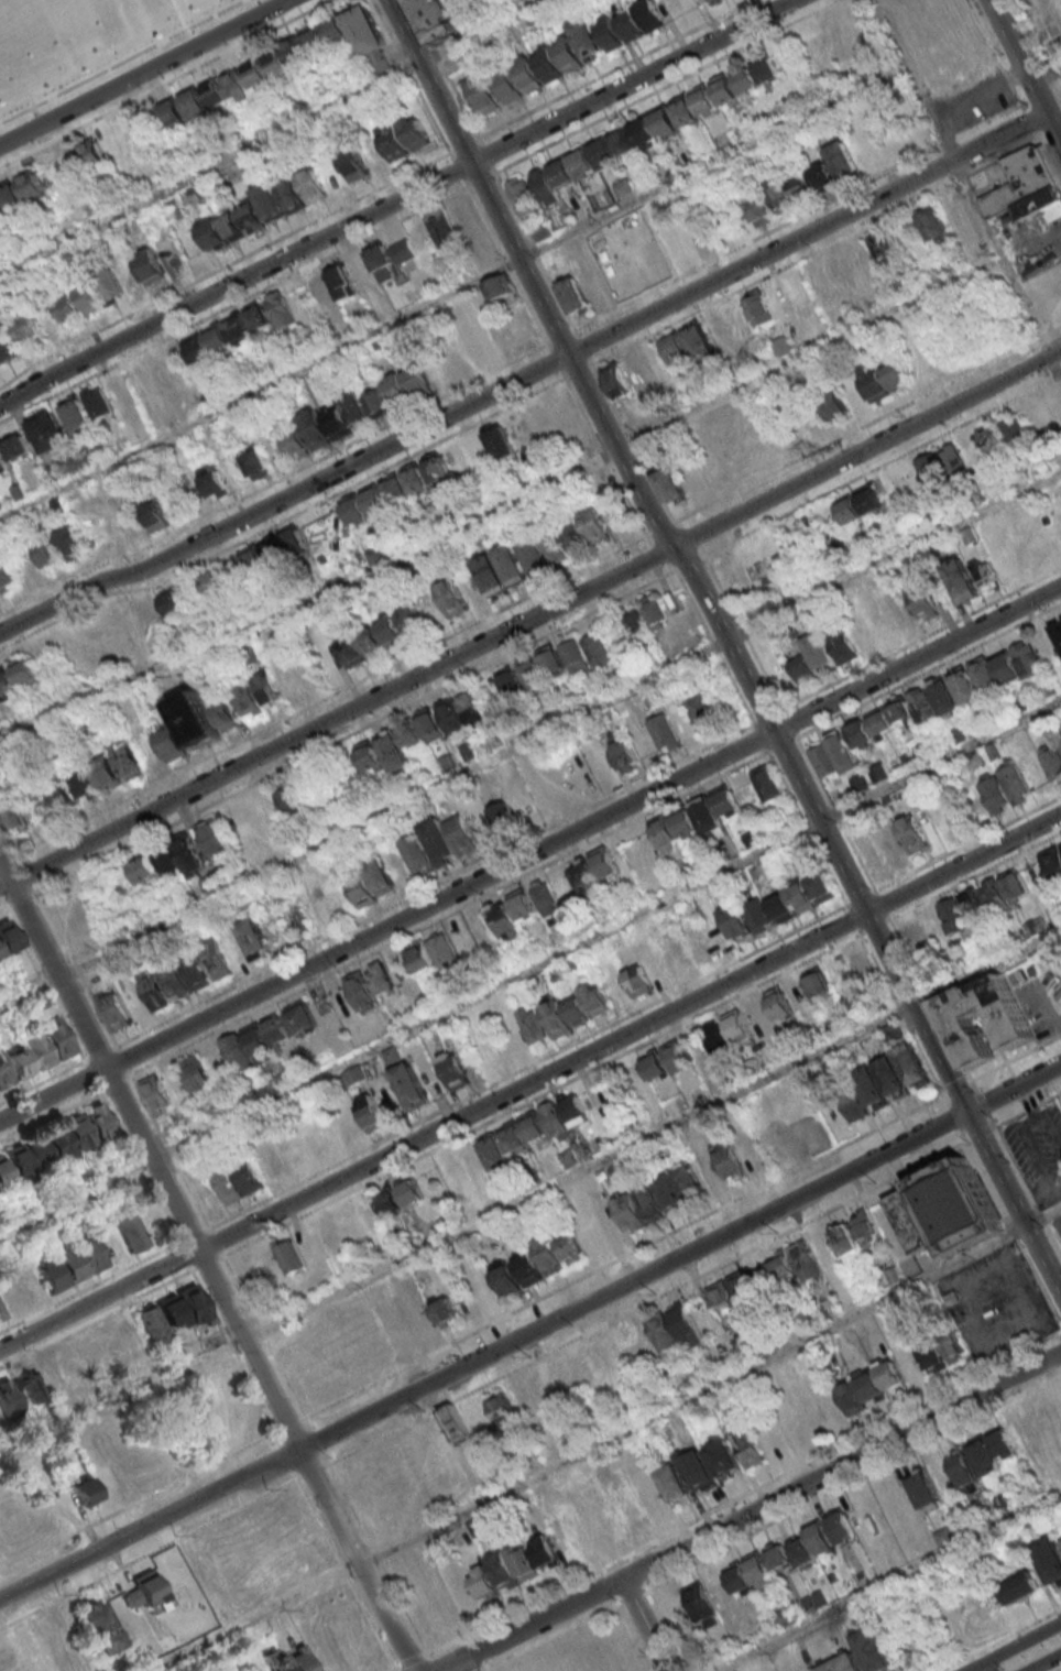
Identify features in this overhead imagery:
road: (178, 14)
building: (648, 14)
building: (438, 19)
building: (620, 30)
road: (248, 40)
road: (1037, 45)
building: (570, 51)
road: (994, 55)
road: (121, 62)
building: (286, 62)
road: (441, 70)
building: (766, 70)
road: (144, 73)
road: (1024, 73)
building: (527, 75)
road: (1046, 77)
road: (412, 78)
building: (746, 81)
building: (507, 86)
building: (724, 91)
building: (483, 94)
building: (174, 114)
road: (1028, 120)
road: (85, 122)
building: (415, 132)
building: (132, 134)
road: (269, 136)
building: (393, 142)
building: (621, 143)
building: (90, 152)
road: (484, 153)
road: (1047, 159)
building: (841, 160)
building: (354, 165)
road: (457, 168)
building: (821, 175)
building: (313, 186)
building: (800, 187)
building: (1025, 187)
road: (967, 188)
building: (21, 189)
building: (622, 189)
building: (292, 196)
building: (523, 196)
road: (396, 200)
building: (269, 201)
building: (770, 201)
building: (463, 217)
building: (252, 218)
building: (934, 226)
building: (442, 228)
building: (220, 231)
building: (687, 242)
building: (886, 247)
road: (534, 251)
building: (379, 262)
road: (222, 265)
road: (523, 267)
building: (119, 280)
building: (341, 281)
building: (319, 287)
building: (499, 288)
building: (584, 291)
road: (452, 293)
road: (234, 305)
building: (68, 308)
building: (280, 309)
building: (748, 312)
building: (258, 316)
building: (28, 327)
building: (216, 339)
building: (701, 342)
building: (6, 345)
road: (582, 346)
building: (478, 349)
building: (627, 375)
road: (523, 376)
building: (885, 379)
building: (417, 380)
building: (396, 390)
building: (834, 405)
building: (86, 408)
building: (353, 411)
road: (865, 424)
building: (314, 429)
building: (47, 432)
building: (1002, 434)
road: (633, 443)
building: (489, 444)
building: (296, 445)
building: (15, 447)
road: (602, 454)
building: (2, 462)
building: (254, 462)
building: (952, 462)
building: (436, 467)
building: (928, 474)
building: (211, 480)
road: (275, 482)
building: (670, 483)
building: (406, 484)
building: (858, 504)
building: (363, 505)
road: (503, 509)
building: (153, 514)
road: (658, 526)
road: (688, 537)
building: (58, 547)
building: (274, 551)
building: (534, 556)
building: (1006, 565)
building: (500, 570)
building: (7, 575)
building: (984, 575)
building: (960, 580)
building: (212, 581)
building: (450, 598)
building: (921, 601)
building: (172, 602)
building: (653, 610)
road: (536, 616)
building: (411, 618)
building: (633, 623)
road: (740, 626)
building: (1058, 630)
road: (545, 634)
building: (370, 642)
building: (842, 645)
building: (597, 648)
building: (819, 653)
building: (549, 660)
building: (1006, 668)
building: (802, 669)
building: (529, 673)
building: (17, 677)
building: (508, 681)
building: (964, 686)
building: (1046, 688)
building: (256, 693)
road: (325, 698)
building: (915, 708)
building: (704, 711)
building: (462, 712)
building: (226, 716)
building: (193, 719)
building: (665, 732)
building: (860, 734)
building: (407, 738)
road: (529, 739)
building: (171, 743)
building: (151, 754)
building: (368, 755)
building: (625, 755)
building: (834, 757)
building: (128, 761)
building: (1053, 762)
building: (106, 772)
building: (877, 773)
building: (767, 783)
building: (1015, 784)
building: (85, 786)
building: (994, 795)
building: (61, 796)
building: (288, 800)
building: (717, 810)
building: (502, 816)
building: (14, 817)
building: (953, 818)
road: (818, 821)
building: (685, 824)
building: (912, 833)
building: (664, 834)
building: (212, 839)
building: (890, 842)
building: (439, 844)
road: (965, 845)
building: (868, 851)
building: (186, 853)
road: (529, 853)
building: (1052, 861)
building: (603, 862)
building: (143, 872)
building: (584, 877)
road: (972, 877)
road: (4, 883)
building: (372, 883)
road: (1, 894)
road: (875, 894)
building: (799, 897)
road: (20, 898)
building: (545, 898)
road: (857, 899)
road: (6, 906)
road: (880, 906)
building: (974, 907)
building: (512, 914)
building: (757, 915)
building: (953, 916)
road: (850, 918)
building: (734, 920)
building: (1036, 926)
road: (874, 928)
road: (857, 932)
building: (713, 933)
building: (914, 935)
building: (1018, 935)
building: (9, 937)
road: (64, 946)
building: (1, 953)
building: (434, 954)
road: (905, 954)
building: (676, 955)
building: (216, 961)
building: (860, 965)
road: (529, 969)
road: (879, 970)
building: (94, 976)
building: (380, 976)
road: (44, 978)
building: (637, 981)
building: (359, 990)
building: (154, 992)
building: (798, 993)
building: (594, 998)
road: (928, 1000)
building: (112, 1009)
road: (901, 1011)
building: (562, 1015)
building: (300, 1017)
building: (761, 1022)
building: (1013, 1024)
building: (530, 1025)
building: (726, 1034)
building: (61, 1040)
building: (253, 1044)
building: (40, 1050)
road: (953, 1050)
building: (676, 1056)
road: (1014, 1060)
road: (927, 1062)
building: (654, 1064)
road: (525, 1069)
building: (452, 1070)
road: (1009, 1071)
building: (6, 1074)
building: (196, 1074)
building: (352, 1075)
building: (713, 1080)
road: (43, 1081)
building: (883, 1082)
road: (530, 1083)
road: (1016, 1083)
building: (408, 1085)
road: (956, 1090)
building: (156, 1095)
road: (540, 1096)
road: (1049, 1100)
road: (1028, 1103)
road: (981, 1105)
road: (1030, 1110)
building: (361, 1116)
road: (954, 1118)
road: (1032, 1120)
road: (1006, 1122)
building: (533, 1129)
road: (1052, 1131)
road: (980, 1135)
building: (62, 1143)
road: (167, 1153)
building: (750, 1153)
parking lot: (1039, 1153)
road: (150, 1156)
building: (569, 1158)
road: (1036, 1158)
road: (1011, 1164)
building: (709, 1172)
building: (455, 1173)
building: (248, 1175)
building: (4, 1176)
road: (984, 1178)
road: (1057, 1190)
road: (529, 1198)
building: (390, 1202)
road: (1014, 1204)
building: (958, 1206)
building: (15, 1208)
building: (637, 1208)
building: (1, 1215)
road: (1040, 1220)
building: (914, 1221)
building: (153, 1223)
building: (132, 1233)
road: (1011, 1234)
building: (329, 1235)
building: (860, 1235)
road: (194, 1237)
road: (1052, 1242)
road: (214, 1244)
road: (181, 1245)
building: (288, 1254)
road: (679, 1256)
road: (186, 1257)
road: (622, 1258)
building: (73, 1264)
building: (796, 1264)
road: (207, 1265)
road: (195, 1270)
building: (889, 1275)
building: (247, 1277)
building: (495, 1285)
road: (1038, 1285)
road: (91, 1287)
road: (238, 1291)
building: (11, 1295)
building: (734, 1296)
road: (646, 1303)
building: (831, 1306)
parking lot: (996, 1306)
road: (211, 1307)
building: (434, 1312)
building: (1, 1313)
building: (396, 1326)
building: (672, 1329)
road: (262, 1334)
building: (122, 1340)
road: (232, 1350)
building: (939, 1352)
building: (601, 1362)
building: (869, 1385)
road: (287, 1386)
building: (20, 1395)
road: (259, 1400)
building: (501, 1409)
building: (809, 1416)
building: (455, 1423)
road: (289, 1427)
road: (277, 1433)
road: (605, 1441)
road: (315, 1442)
building: (747, 1446)
building: (1002, 1448)
building: (722, 1459)
road: (288, 1460)
building: (698, 1471)
road: (313, 1473)
building: (941, 1479)
road: (852, 1483)
building: (674, 1484)
building: (85, 1490)
road: (741, 1497)
building: (638, 1498)
road: (347, 1503)
building: (591, 1512)
road: (747, 1512)
road: (319, 1520)
road: (150, 1525)
building: (478, 1526)
building: (841, 1527)
building: (820, 1538)
building: (802, 1552)
road: (151, 1555)
building: (779, 1558)
road: (376, 1559)
road: (358, 1561)
building: (1049, 1561)
building: (522, 1562)
building: (758, 1570)
road: (347, 1573)
road: (637, 1579)
building: (737, 1579)
building: (481, 1582)
road: (889, 1582)
building: (1018, 1587)
building: (151, 1592)
road: (632, 1596)
building: (691, 1606)
road: (404, 1613)
road: (373, 1625)
road: (642, 1625)
building: (99, 1626)
road: (663, 1628)
road: (551, 1636)
road: (1002, 1640)
building: (31, 1647)
road: (1014, 1647)
building: (871, 1649)
building: (288, 1659)
road: (1044, 1662)
road: (412, 1663)
building: (841, 1663)
road: (431, 1665)
road: (980, 1668)
road: (400, 1670)
road: (1060, 1670)

